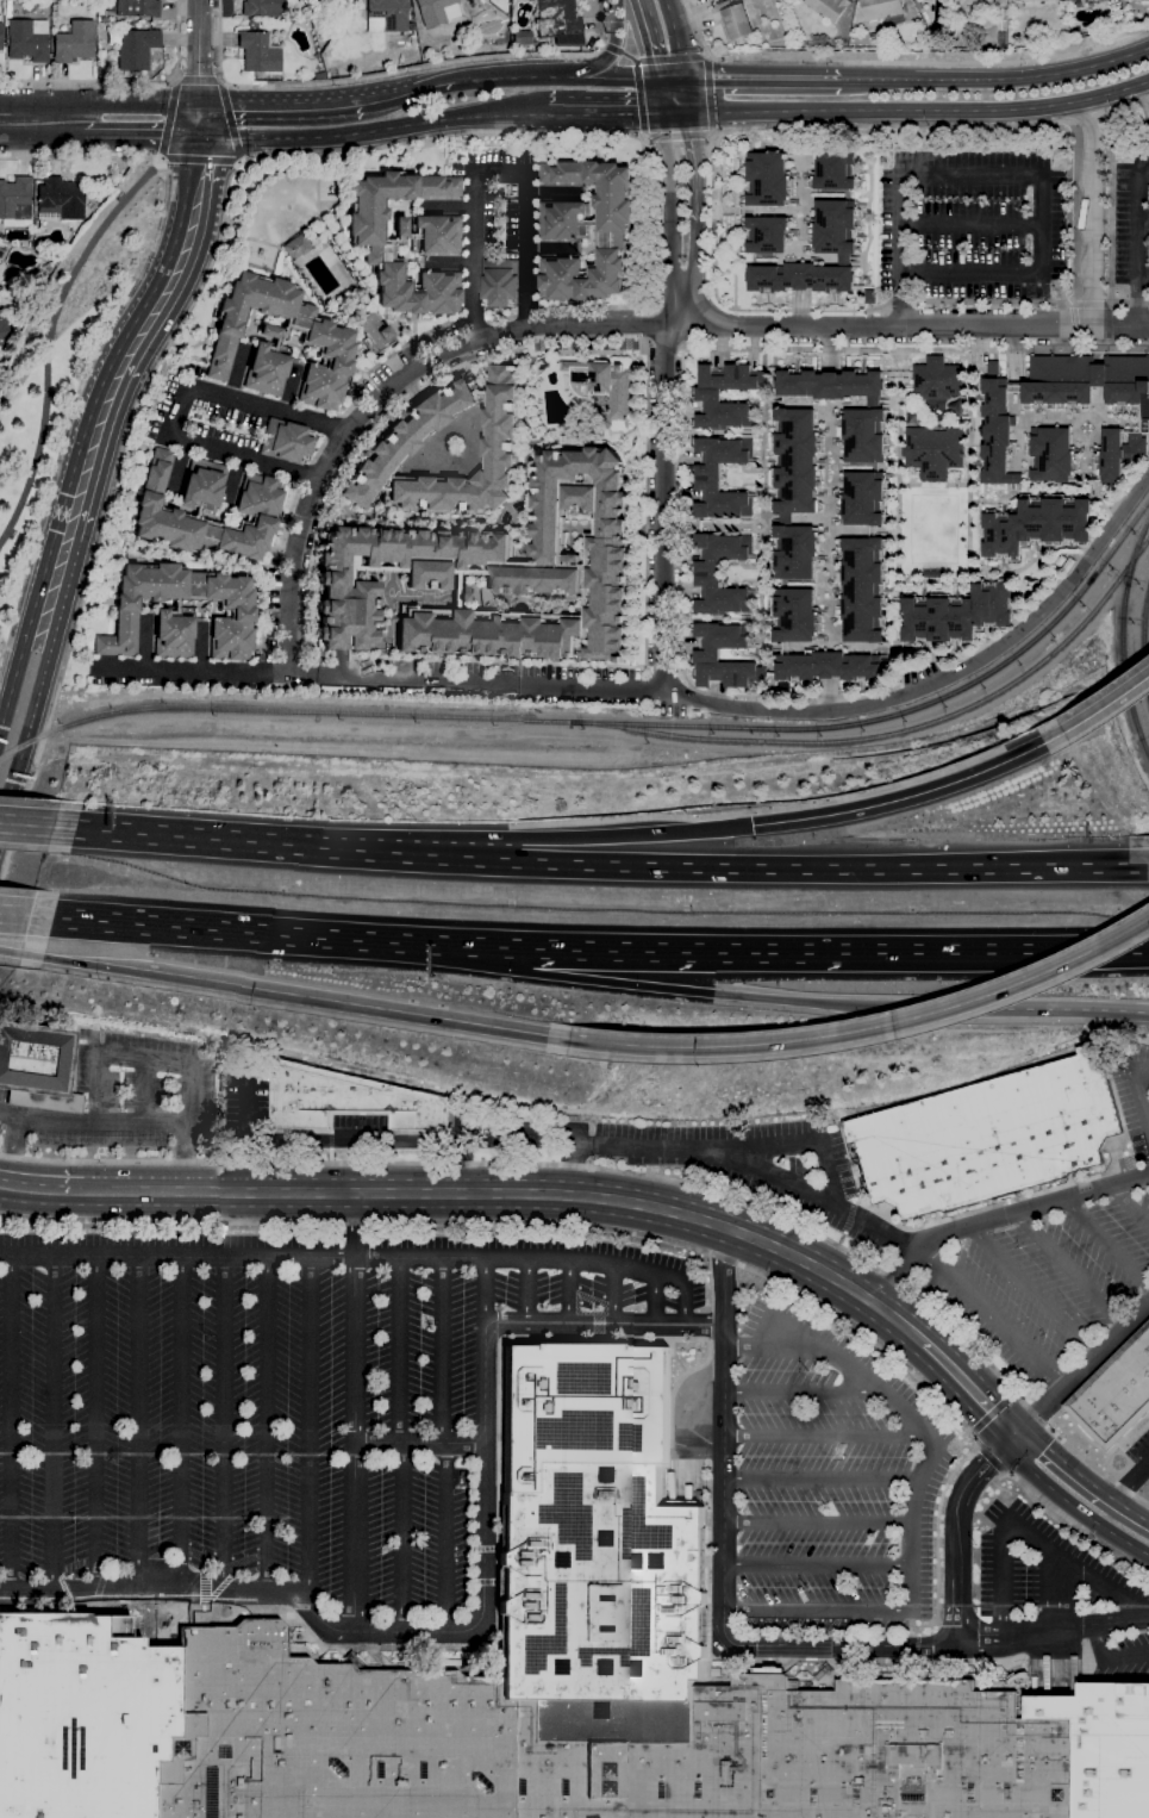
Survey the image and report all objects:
building: (321, 0)
building: (324, 0)
building: (916, 0)
building: (918, 0)
building: (1019, 0)
building: (1070, 0)
building: (1078, 1)
building: (976, 4)
building: (1038, 4)
building: (829, 7)
building: (137, 8)
building: (261, 8)
building: (436, 11)
building: (883, 11)
building: (386, 15)
building: (732, 19)
building: (558, 21)
building: (0, 37)
building: (522, 38)
road: (648, 38)
road: (675, 38)
building: (26, 39)
building: (73, 43)
building: (133, 49)
building: (257, 51)
road: (198, 52)
road: (617, 52)
road: (670, 58)
road: (607, 60)
road: (899, 61)
road: (394, 74)
road: (217, 77)
road: (554, 77)
road: (194, 79)
traffic signals: (657, 79)
road: (670, 79)
traffic signals: (685, 79)
road: (997, 79)
road: (762, 80)
road: (126, 81)
road: (431, 81)
road: (221, 85)
road: (1119, 89)
road: (708, 93)
road: (386, 95)
road: (661, 95)
road: (687, 95)
road: (638, 98)
road: (129, 100)
road: (1129, 104)
traffic signals: (200, 105)
road: (280, 106)
road: (889, 110)
road: (1142, 111)
road: (604, 112)
traffic signals: (666, 112)
road: (677, 112)
traffic signals: (689, 112)
road: (1087, 114)
road: (167, 117)
road: (32, 119)
road: (201, 120)
road: (229, 120)
road: (887, 125)
road: (373, 129)
road: (676, 133)
road: (131, 135)
traffic signals: (202, 136)
road: (1130, 145)
road: (196, 158)
road: (239, 158)
road: (237, 162)
road: (1089, 163)
building: (836, 170)
road: (1014, 170)
road: (492, 172)
building: (769, 179)
building: (60, 200)
building: (14, 201)
road: (669, 203)
road: (694, 203)
road: (1111, 205)
road: (1070, 210)
road: (645, 220)
road: (1144, 222)
parking lot: (1131, 223)
parking lot: (969, 224)
road: (969, 224)
building: (586, 230)
building: (768, 234)
road: (1139, 242)
building: (436, 245)
building: (295, 247)
building: (837, 249)
road: (1089, 251)
road: (213, 255)
road: (1144, 274)
building: (499, 282)
road: (1089, 299)
road: (900, 300)
road: (991, 300)
road: (1119, 301)
road: (1137, 301)
road: (1148, 301)
road: (722, 304)
road: (1089, 304)
road: (592, 306)
road: (674, 309)
road: (525, 310)
road: (499, 318)
road: (472, 320)
road: (878, 324)
road: (1073, 324)
road: (1119, 324)
road: (648, 326)
road: (1106, 326)
building: (4, 331)
building: (373, 332)
road: (49, 337)
road: (137, 337)
road: (104, 338)
railway: (54, 340)
building: (324, 342)
road: (524, 344)
road: (664, 347)
road: (916, 348)
road: (385, 356)
park: (65, 366)
building: (993, 367)
building: (937, 378)
building: (602, 384)
building: (708, 394)
road: (177, 409)
building: (863, 416)
building: (1066, 419)
road: (332, 427)
building: (398, 440)
building: (286, 441)
building: (933, 450)
road: (317, 452)
road: (321, 471)
road: (232, 477)
road: (304, 477)
building: (707, 477)
building: (795, 491)
road: (663, 496)
building: (863, 498)
building: (206, 510)
building: (1037, 524)
park: (932, 531)
building: (1060, 561)
road: (264, 562)
building: (1069, 564)
road: (1081, 567)
building: (494, 573)
building: (707, 573)
building: (933, 573)
road: (51, 589)
building: (862, 589)
building: (180, 612)
building: (957, 614)
building: (795, 615)
road: (680, 622)
railway: (1123, 637)
railway: (1143, 643)
road: (143, 647)
road: (196, 652)
building: (707, 655)
road: (644, 661)
building: (831, 666)
road: (12, 677)
road: (474, 680)
road: (1107, 706)
road: (1, 710)
road: (829, 711)
railway: (901, 711)
railway: (279, 712)
railway: (895, 731)
traffic signals: (1064, 733)
road: (26, 735)
road: (913, 793)
road: (23, 817)
road: (25, 824)
traffic signals: (754, 824)
road: (169, 835)
road: (522, 838)
road: (718, 866)
road: (14, 914)
road: (248, 929)
road: (654, 946)
road: (994, 948)
road: (8, 952)
road: (82, 961)
road: (692, 990)
road: (358, 1004)
road: (1036, 1009)
road: (869, 1029)
road: (138, 1058)
building: (37, 1067)
road: (1137, 1083)
road: (143, 1091)
building: (346, 1098)
parking lot: (249, 1101)
parking lot: (129, 1104)
road: (10, 1115)
parking lot: (360, 1120)
road: (104, 1121)
road: (245, 1135)
road: (381, 1135)
building: (989, 1135)
road: (791, 1145)
road: (13, 1151)
road: (707, 1157)
parking lot: (720, 1157)
road: (189, 1158)
road: (572, 1169)
road: (627, 1172)
road: (5, 1185)
road: (45, 1190)
road: (192, 1191)
road: (629, 1202)
road: (1130, 1203)
road: (995, 1219)
road: (524, 1224)
road: (355, 1225)
road: (1106, 1244)
road: (176, 1257)
road: (506, 1258)
parking lot: (1057, 1264)
road: (1069, 1269)
road: (1032, 1289)
road: (686, 1290)
road: (529, 1293)
road: (570, 1293)
road: (486, 1294)
road: (616, 1297)
road: (657, 1302)
road: (992, 1312)
road: (604, 1327)
road: (817, 1344)
road: (773, 1346)
road: (1079, 1364)
road: (967, 1386)
road: (798, 1390)
building: (1116, 1393)
parking lot: (287, 1408)
road: (995, 1413)
road: (12, 1426)
road: (55, 1426)
road: (99, 1426)
road: (139, 1426)
road: (183, 1427)
road: (226, 1427)
road: (268, 1427)
road: (310, 1430)
traffic signals: (1010, 1430)
road: (824, 1437)
road: (419, 1444)
road: (352, 1445)
road: (400, 1445)
road: (445, 1445)
parking lot: (1138, 1452)
road: (993, 1459)
road: (979, 1468)
road: (1079, 1476)
road: (819, 1483)
road: (916, 1483)
road: (1130, 1483)
road: (1068, 1501)
parking lot: (882, 1514)
road: (817, 1525)
road: (1068, 1527)
road: (1028, 1536)
road: (816, 1567)
road: (956, 1579)
road: (1059, 1592)
road: (817, 1611)
road: (386, 1633)
road: (730, 1642)
road: (1110, 1655)
building: (541, 1681)

